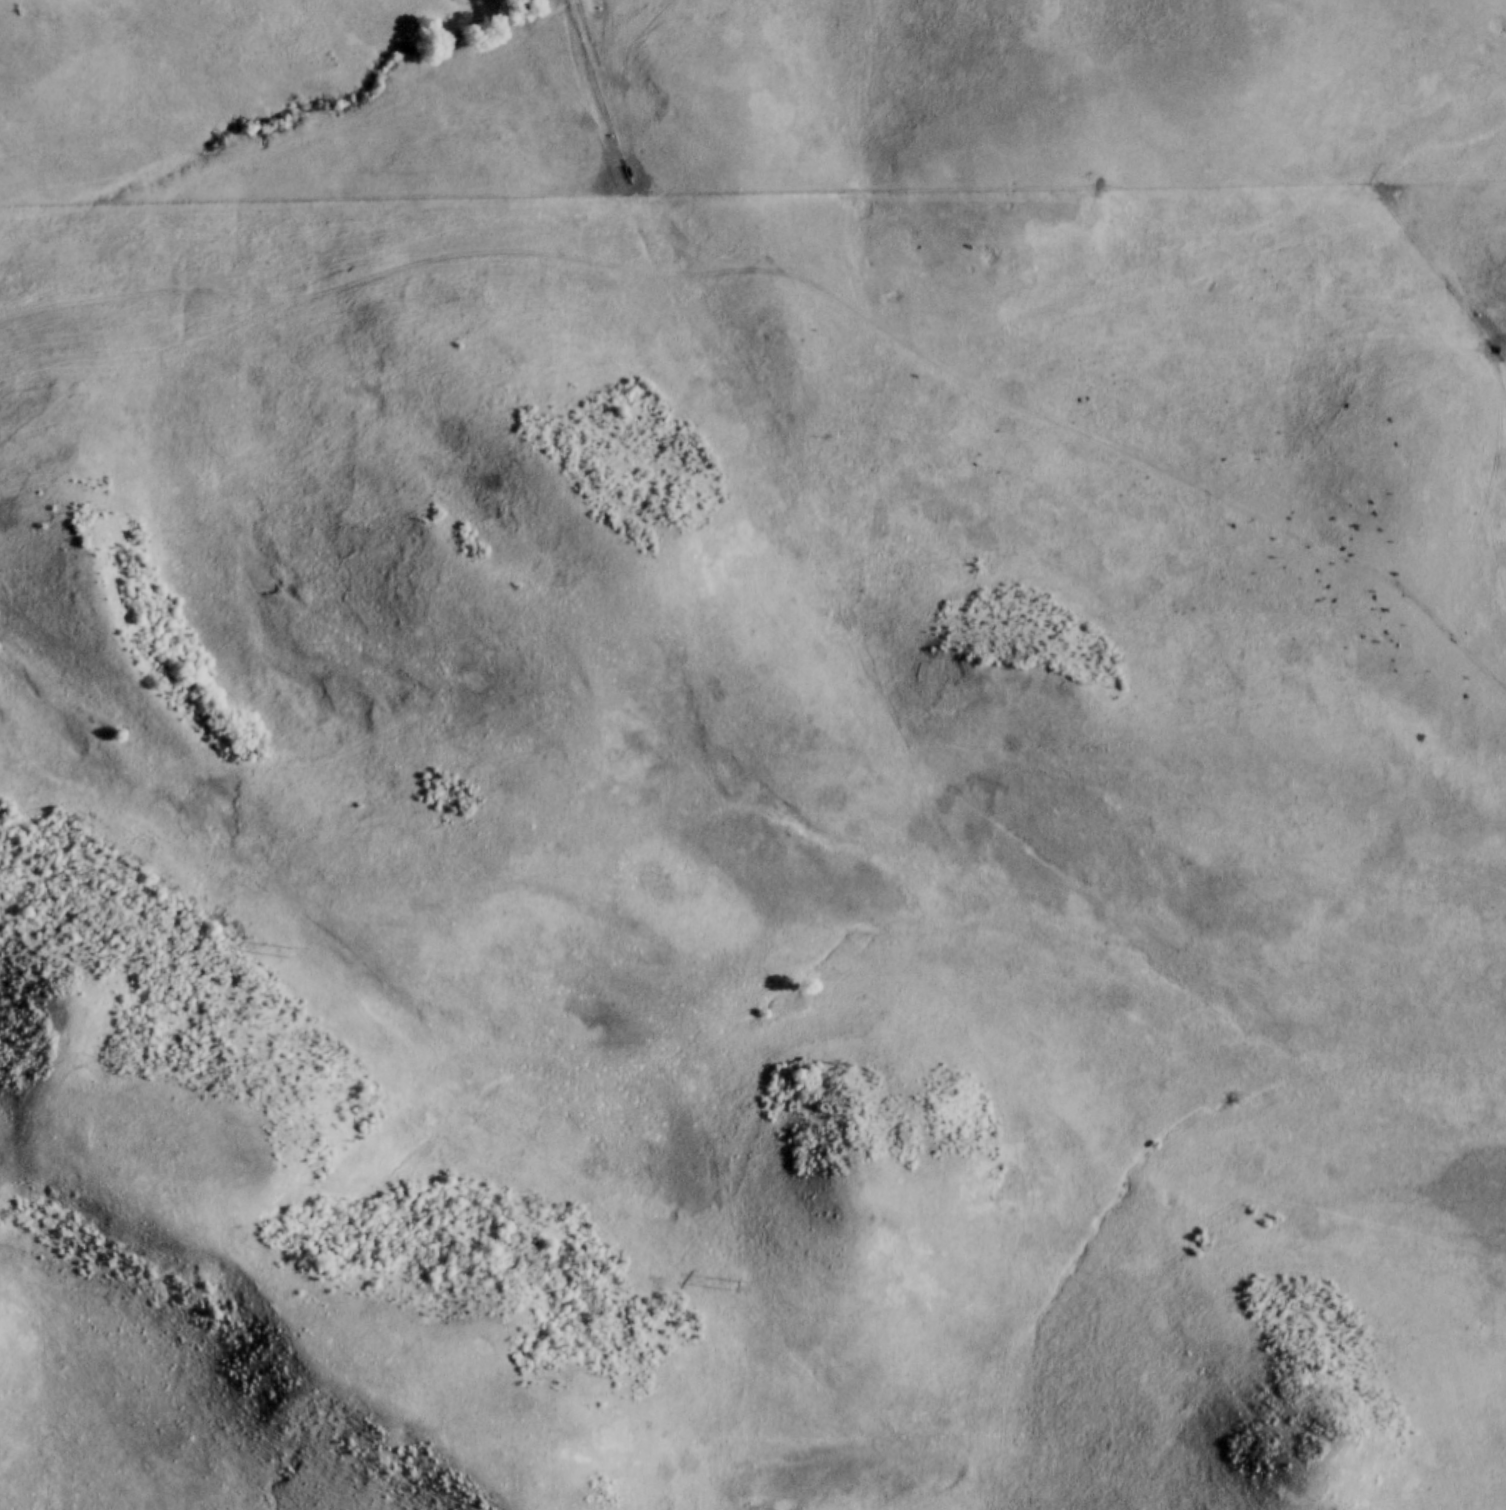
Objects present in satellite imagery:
power tower: (292, 953)
power tower: (739, 1287)

